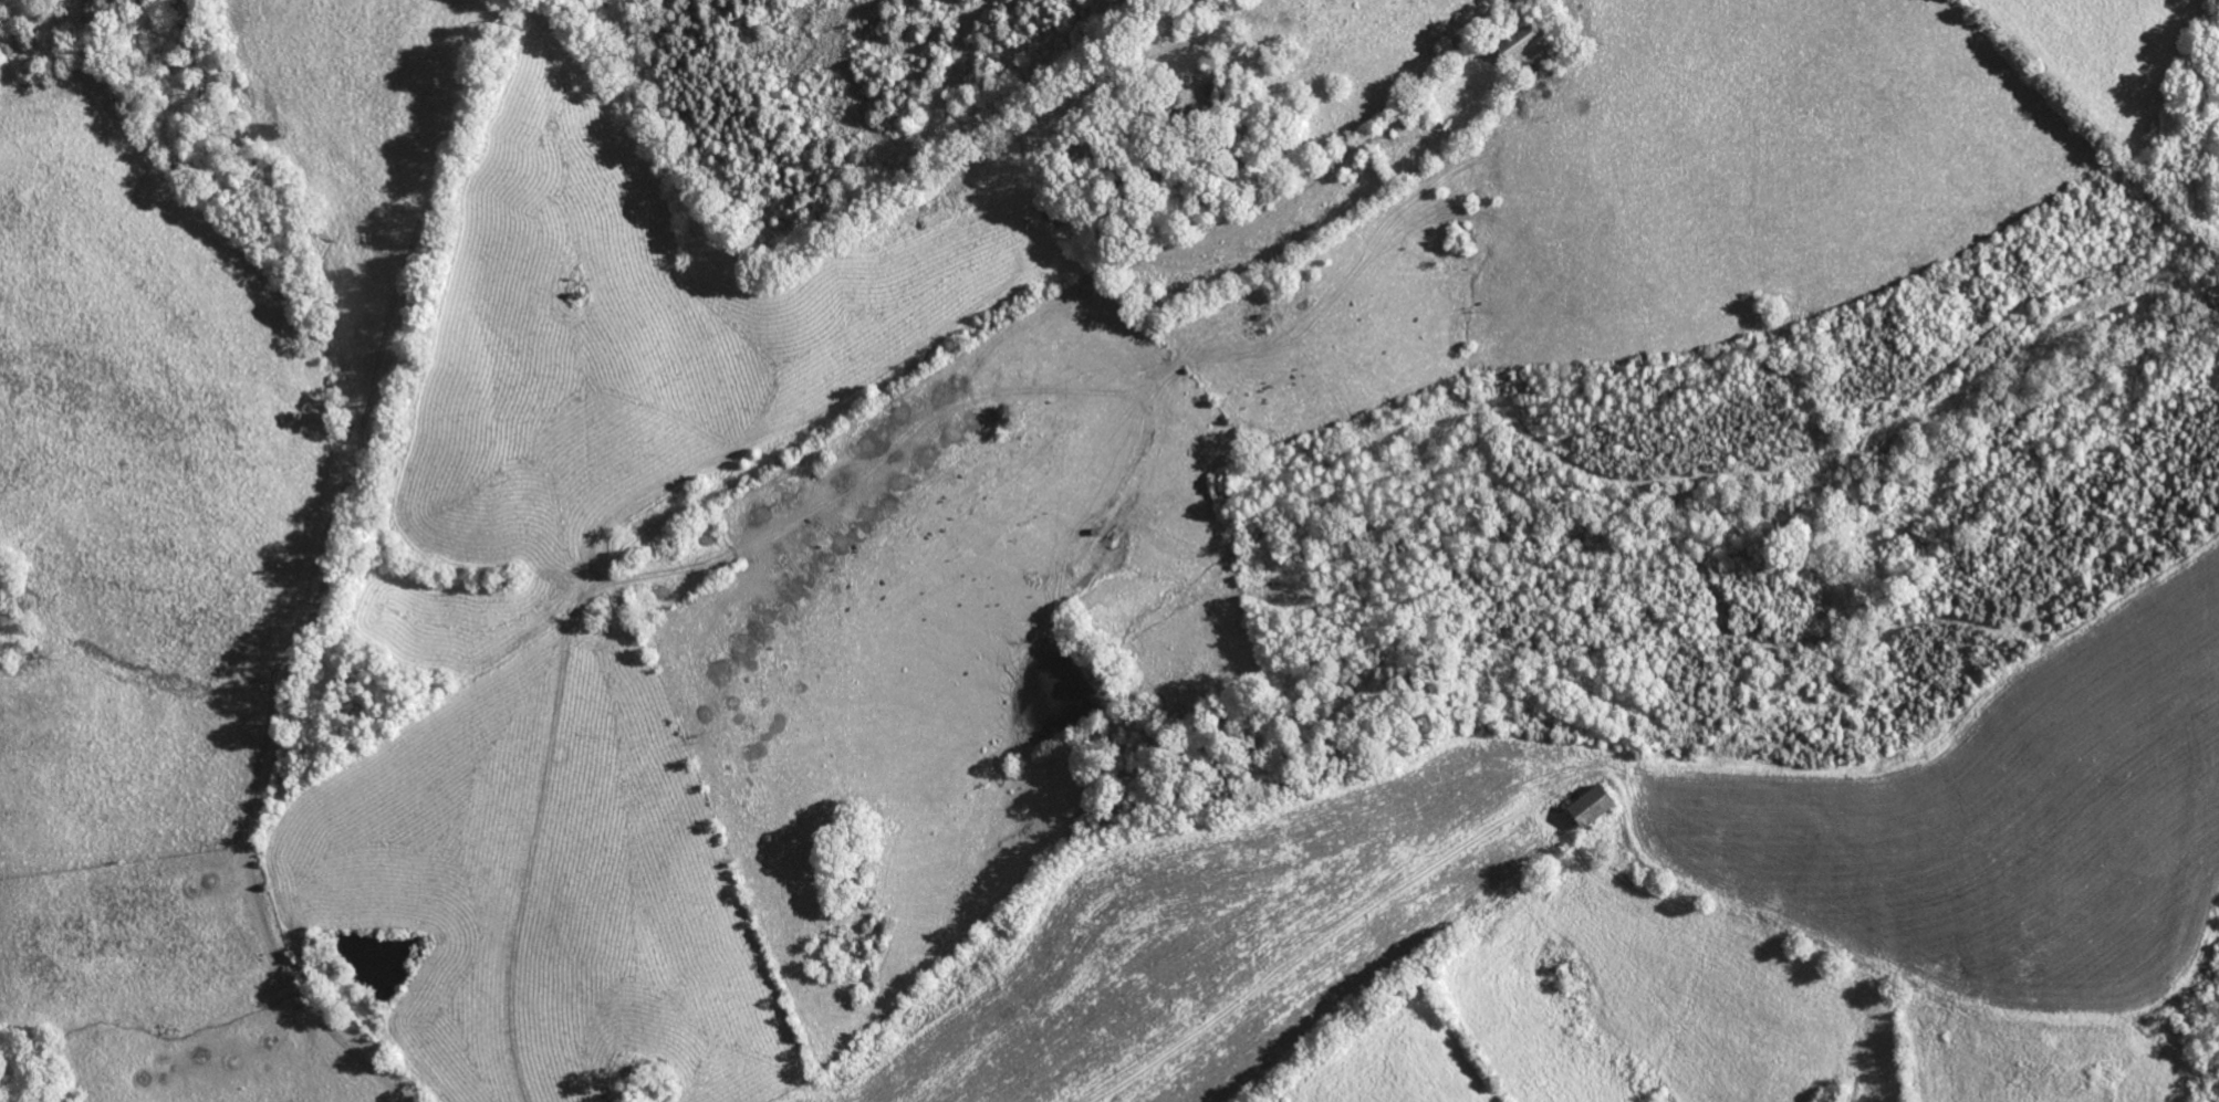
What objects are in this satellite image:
building: (1596, 807)

